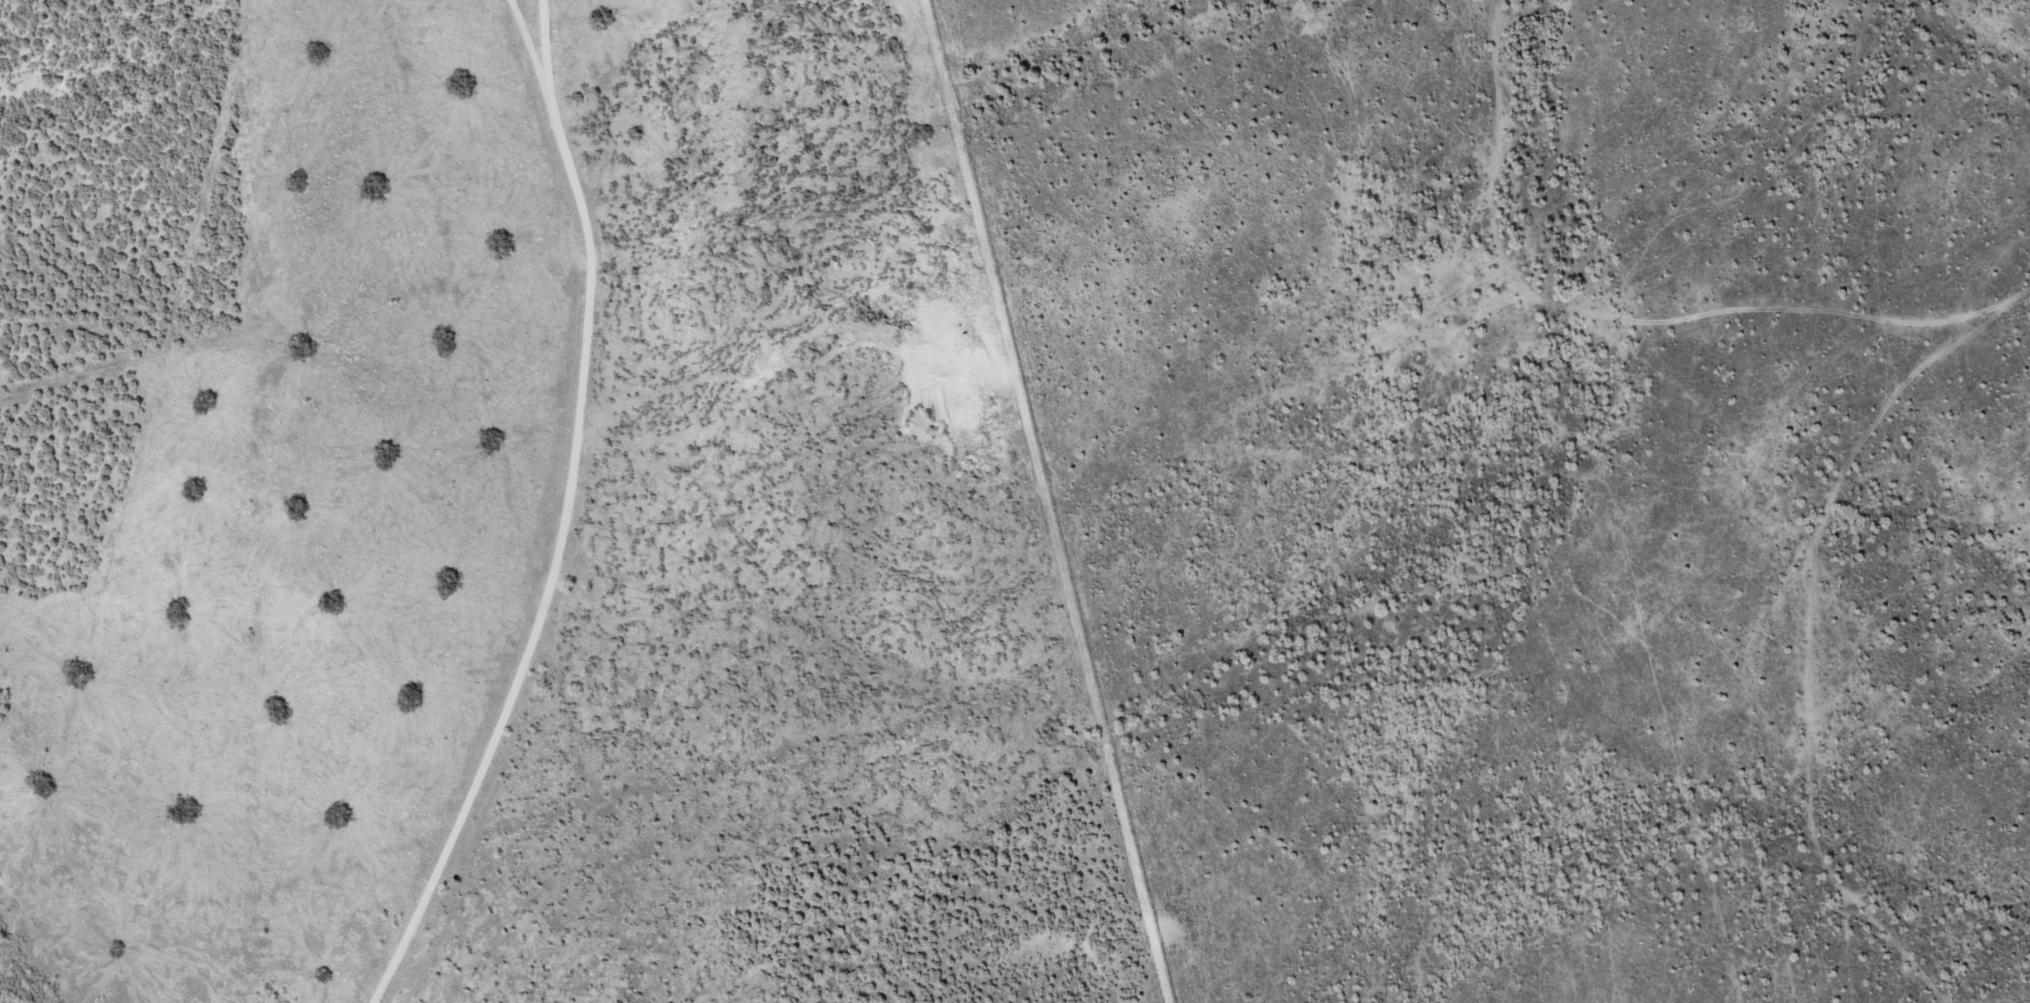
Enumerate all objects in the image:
road: (1629, 326)

